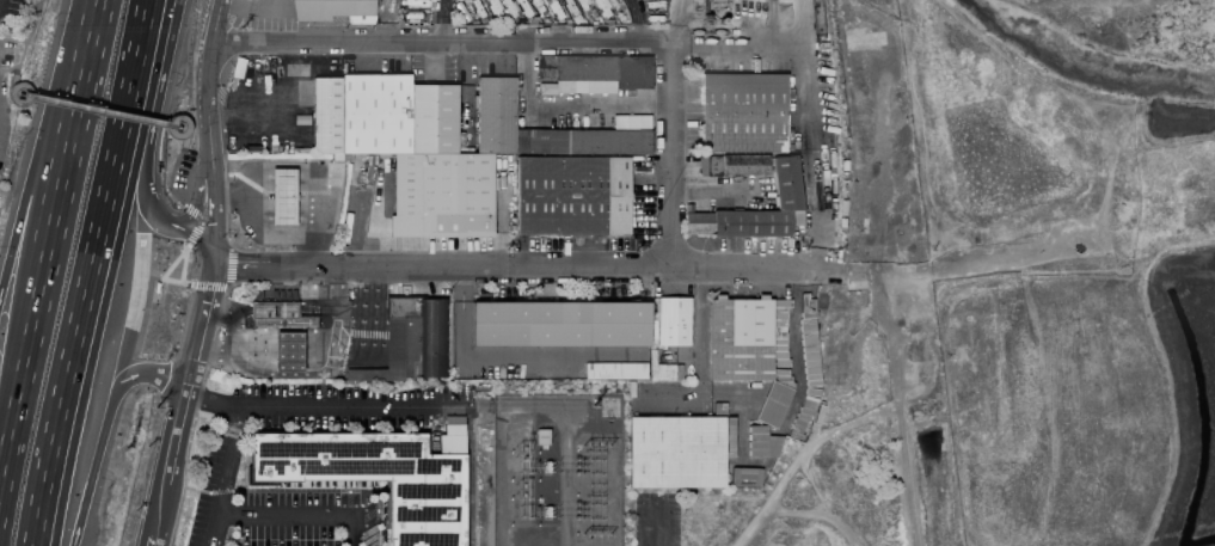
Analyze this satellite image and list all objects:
building: (718, 1)
road: (103, 2)
building: (612, 2)
road: (256, 7)
building: (601, 8)
building: (335, 11)
road: (443, 23)
road: (637, 23)
building: (714, 23)
road: (802, 26)
road: (675, 29)
road: (27, 36)
road: (12, 39)
railway: (840, 42)
road: (552, 48)
road: (432, 62)
road: (8, 69)
building: (593, 74)
road: (207, 75)
road: (467, 90)
road: (158, 93)
road: (14, 98)
road: (809, 98)
road: (572, 104)
road: (100, 109)
road: (275, 110)
building: (742, 114)
road: (184, 118)
road: (275, 122)
road: (76, 124)
road: (42, 143)
road: (216, 145)
building: (442, 146)
road: (877, 161)
building: (744, 165)
building: (708, 166)
road: (170, 176)
road: (201, 182)
building: (786, 182)
road: (245, 195)
building: (572, 196)
building: (283, 197)
road: (227, 200)
road: (214, 201)
road: (191, 211)
road: (315, 211)
road: (502, 213)
road: (351, 217)
road: (200, 220)
road: (180, 222)
road: (170, 226)
road: (194, 233)
road: (264, 234)
road: (246, 250)
traffic signals: (214, 252)
road: (263, 257)
road: (987, 259)
road: (174, 263)
road: (183, 264)
road: (231, 266)
road: (516, 269)
road: (848, 271)
road: (87, 272)
road: (177, 282)
road: (211, 287)
road: (136, 299)
building: (783, 305)
road: (274, 311)
road: (317, 311)
building: (277, 314)
road: (35, 321)
building: (674, 323)
building: (560, 325)
road: (867, 325)
road: (227, 330)
road: (366, 331)
building: (740, 339)
building: (412, 342)
building: (809, 343)
building: (289, 351)
gas station: (289, 351)
road: (505, 357)
road: (701, 368)
building: (615, 372)
building: (662, 372)
road: (139, 374)
road: (307, 374)
road: (204, 387)
road: (737, 388)
road: (182, 399)
road: (204, 400)
road: (354, 404)
building: (773, 405)
road: (897, 407)
road: (452, 416)
road: (8, 442)
building: (761, 443)
building: (679, 452)
road: (802, 456)
power substation: (557, 471)
building: (380, 474)
road: (91, 476)
road: (220, 476)
parking lot: (217, 478)
building: (744, 478)
road: (196, 490)
road: (221, 492)
road: (303, 492)
road: (378, 510)
road: (301, 511)
road: (356, 514)
road: (177, 516)
road: (363, 517)
road: (655, 520)

